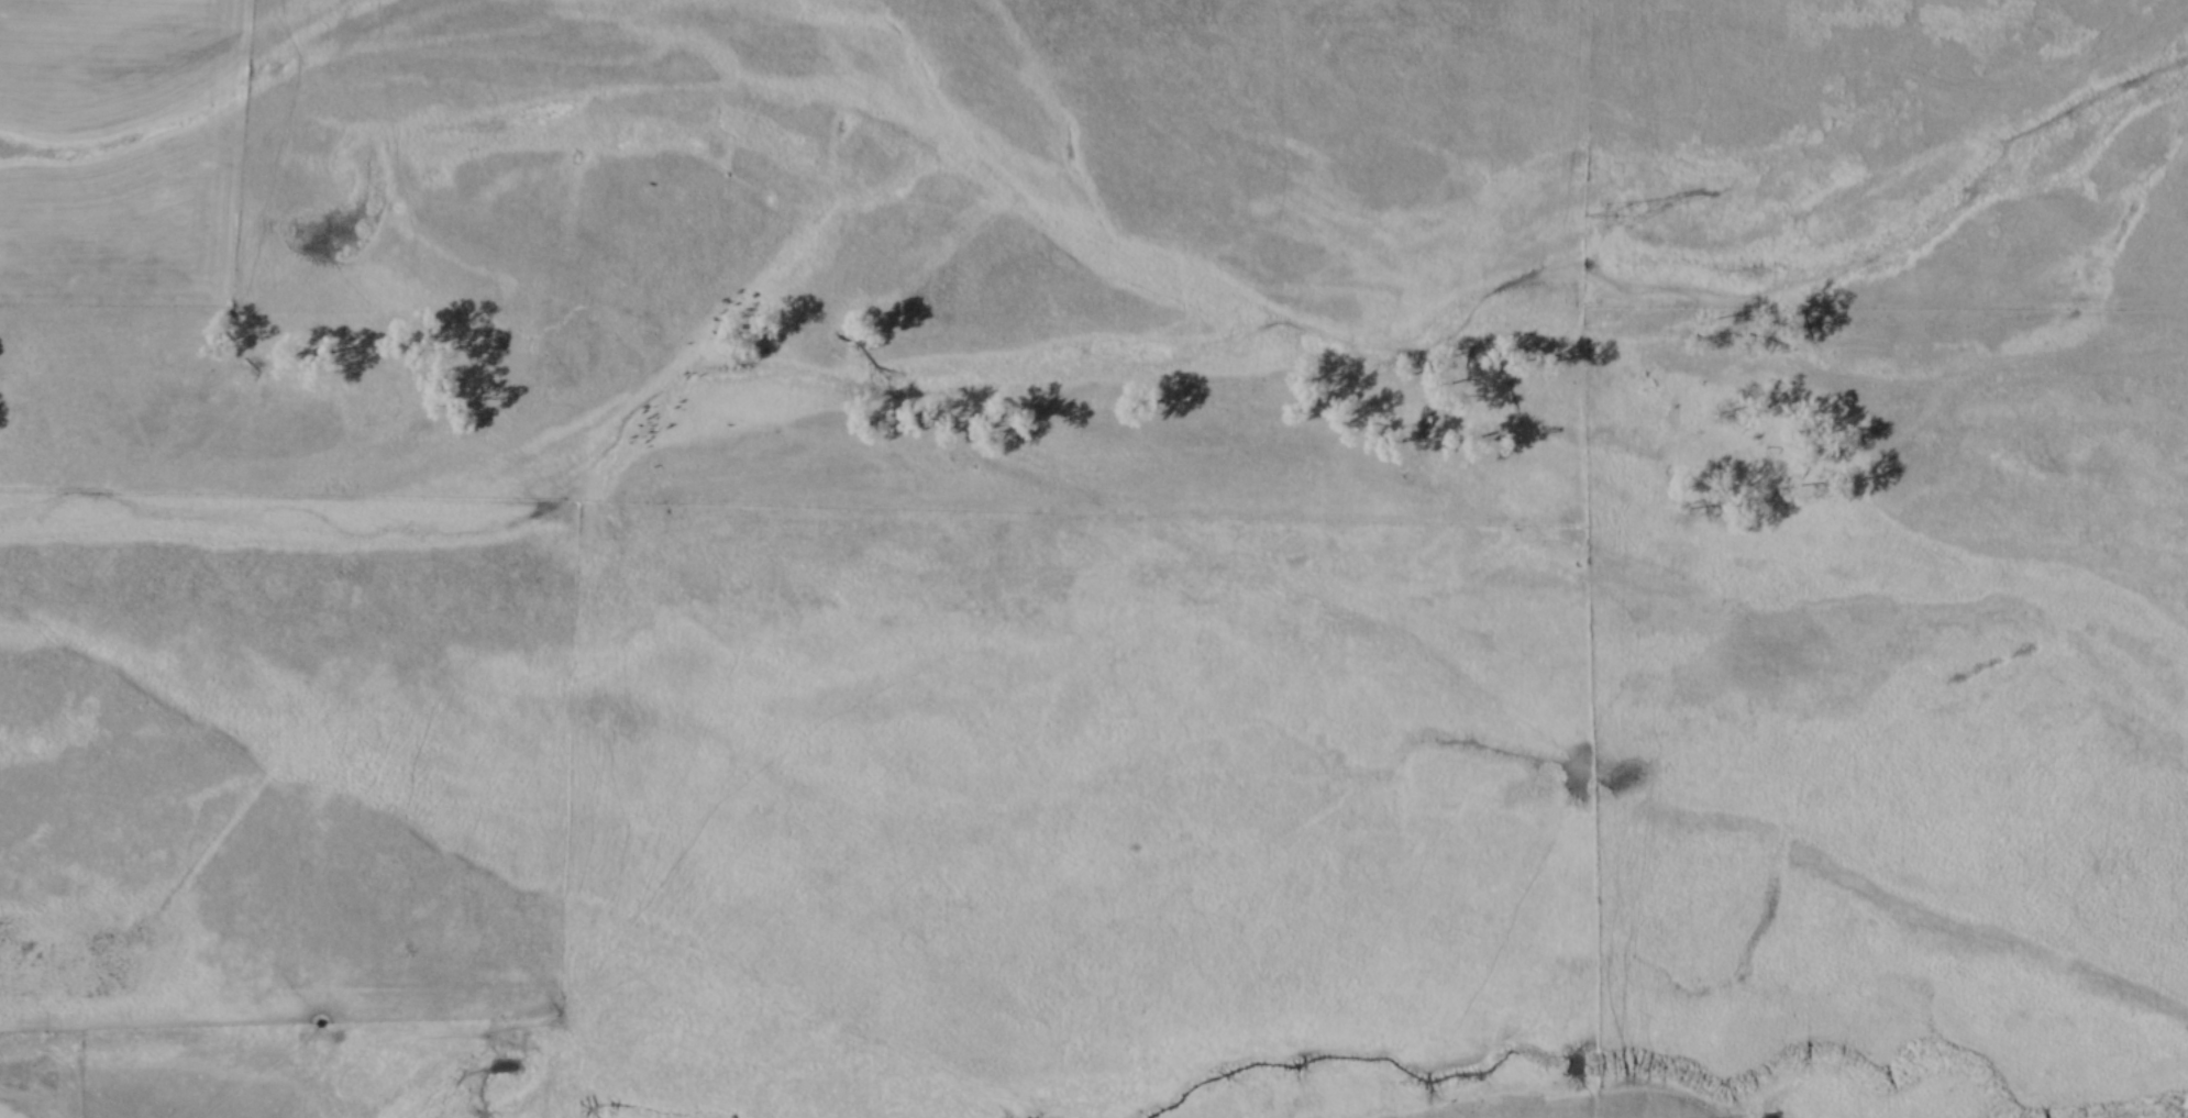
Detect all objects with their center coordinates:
power tower: (1616, 217)

